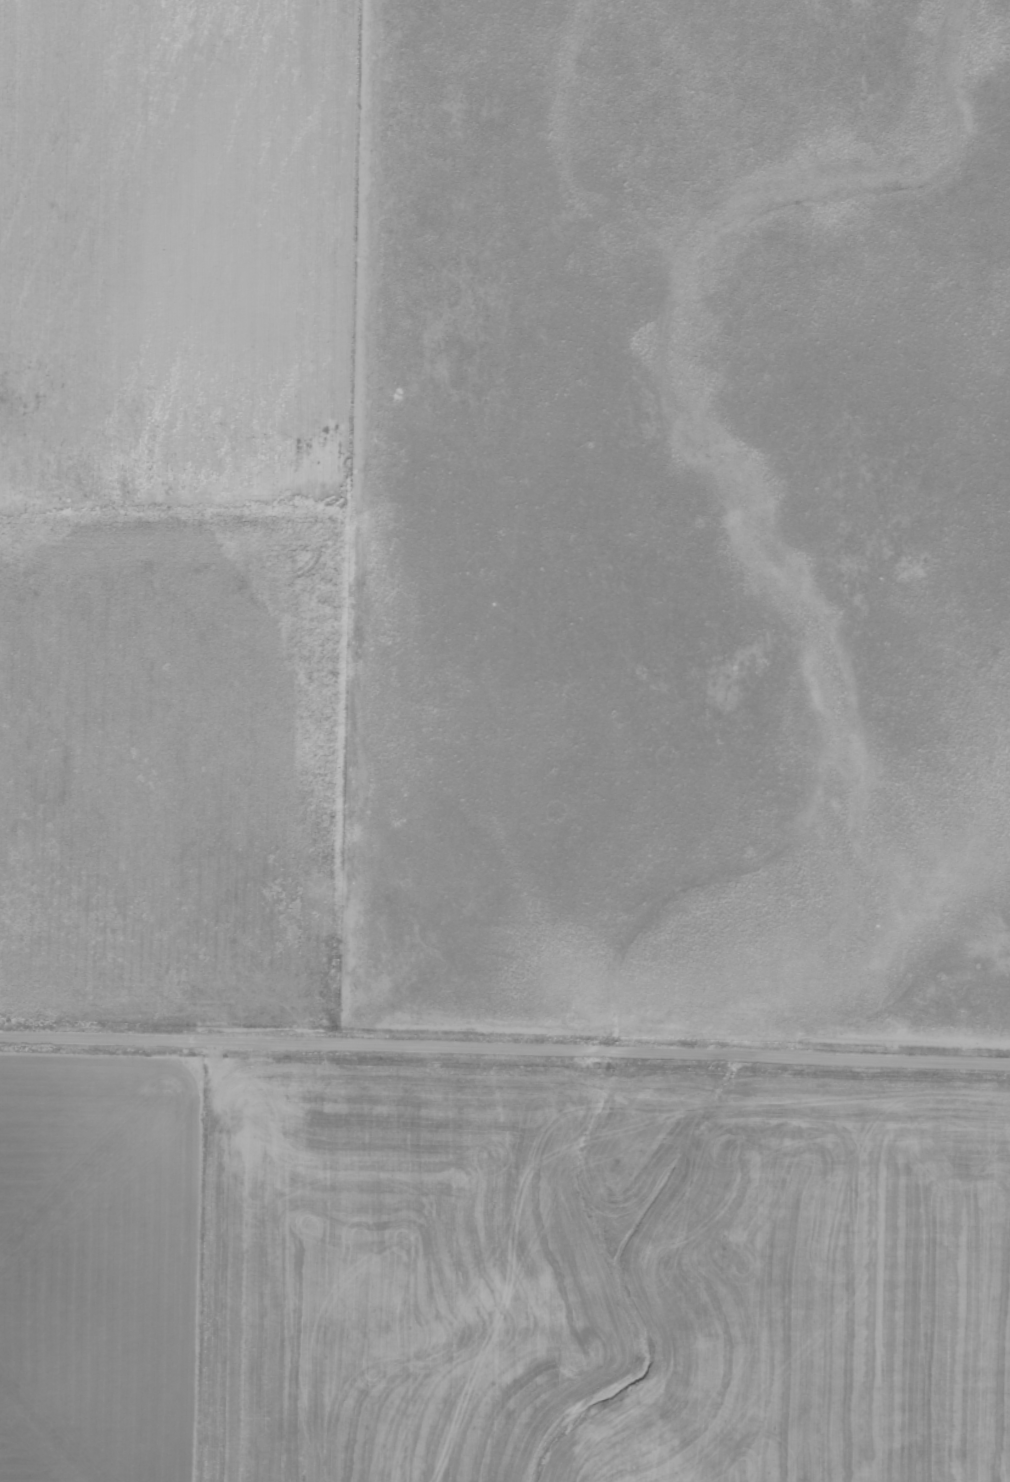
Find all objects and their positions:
road: (505, 1044)

